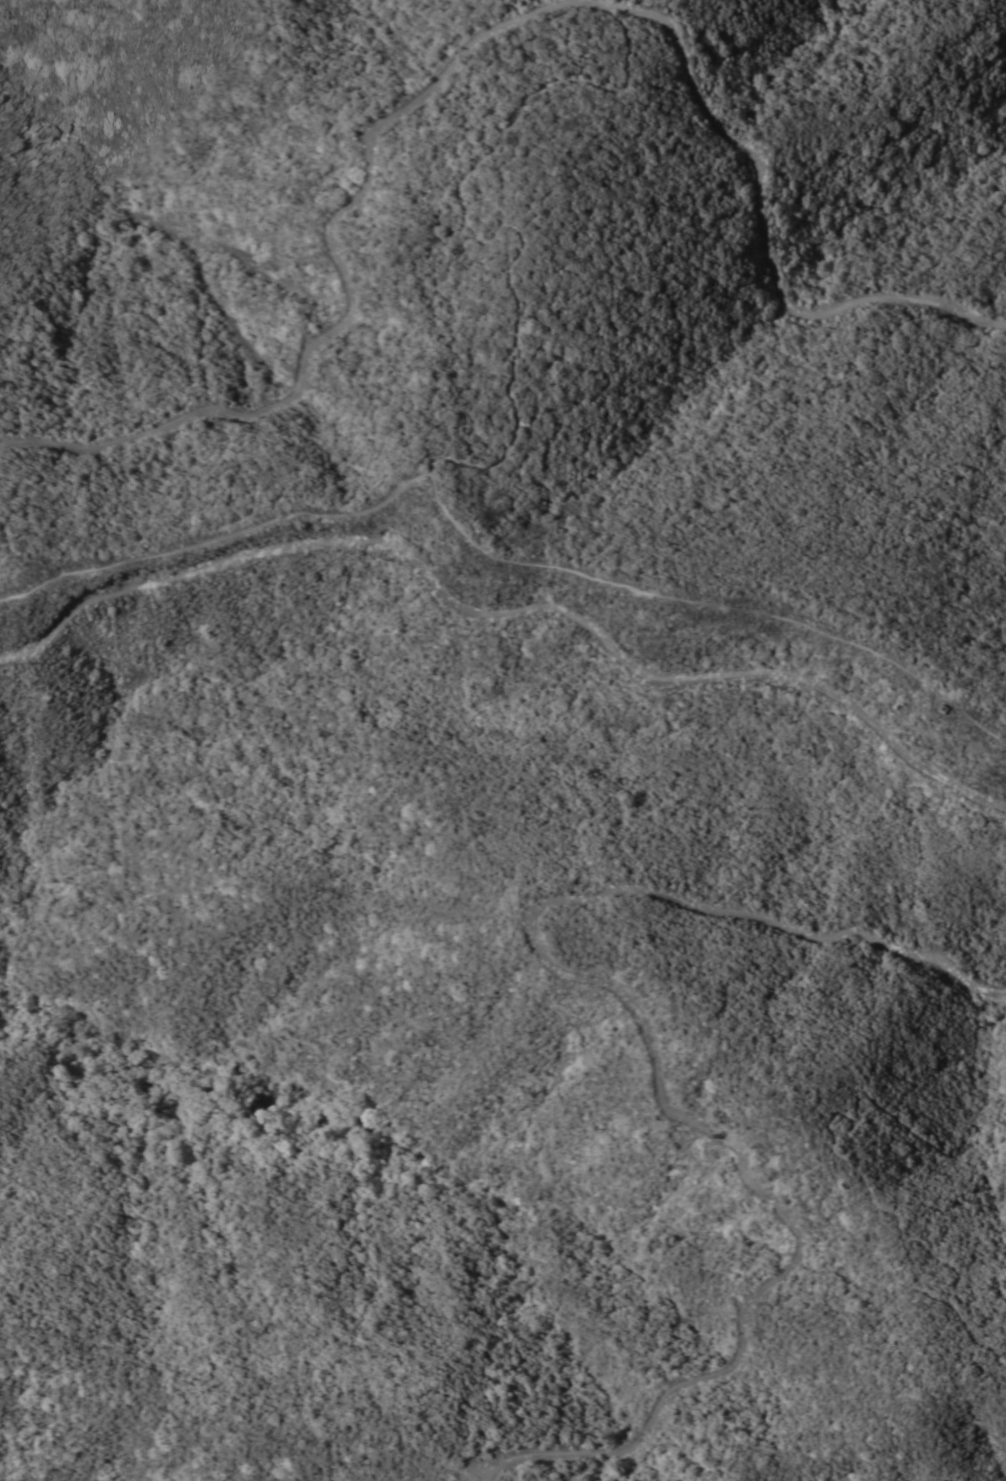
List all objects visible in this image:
road: (862, 2)
road: (480, 32)
road: (520, 421)
road: (714, 599)
road: (508, 608)
road: (648, 1044)

